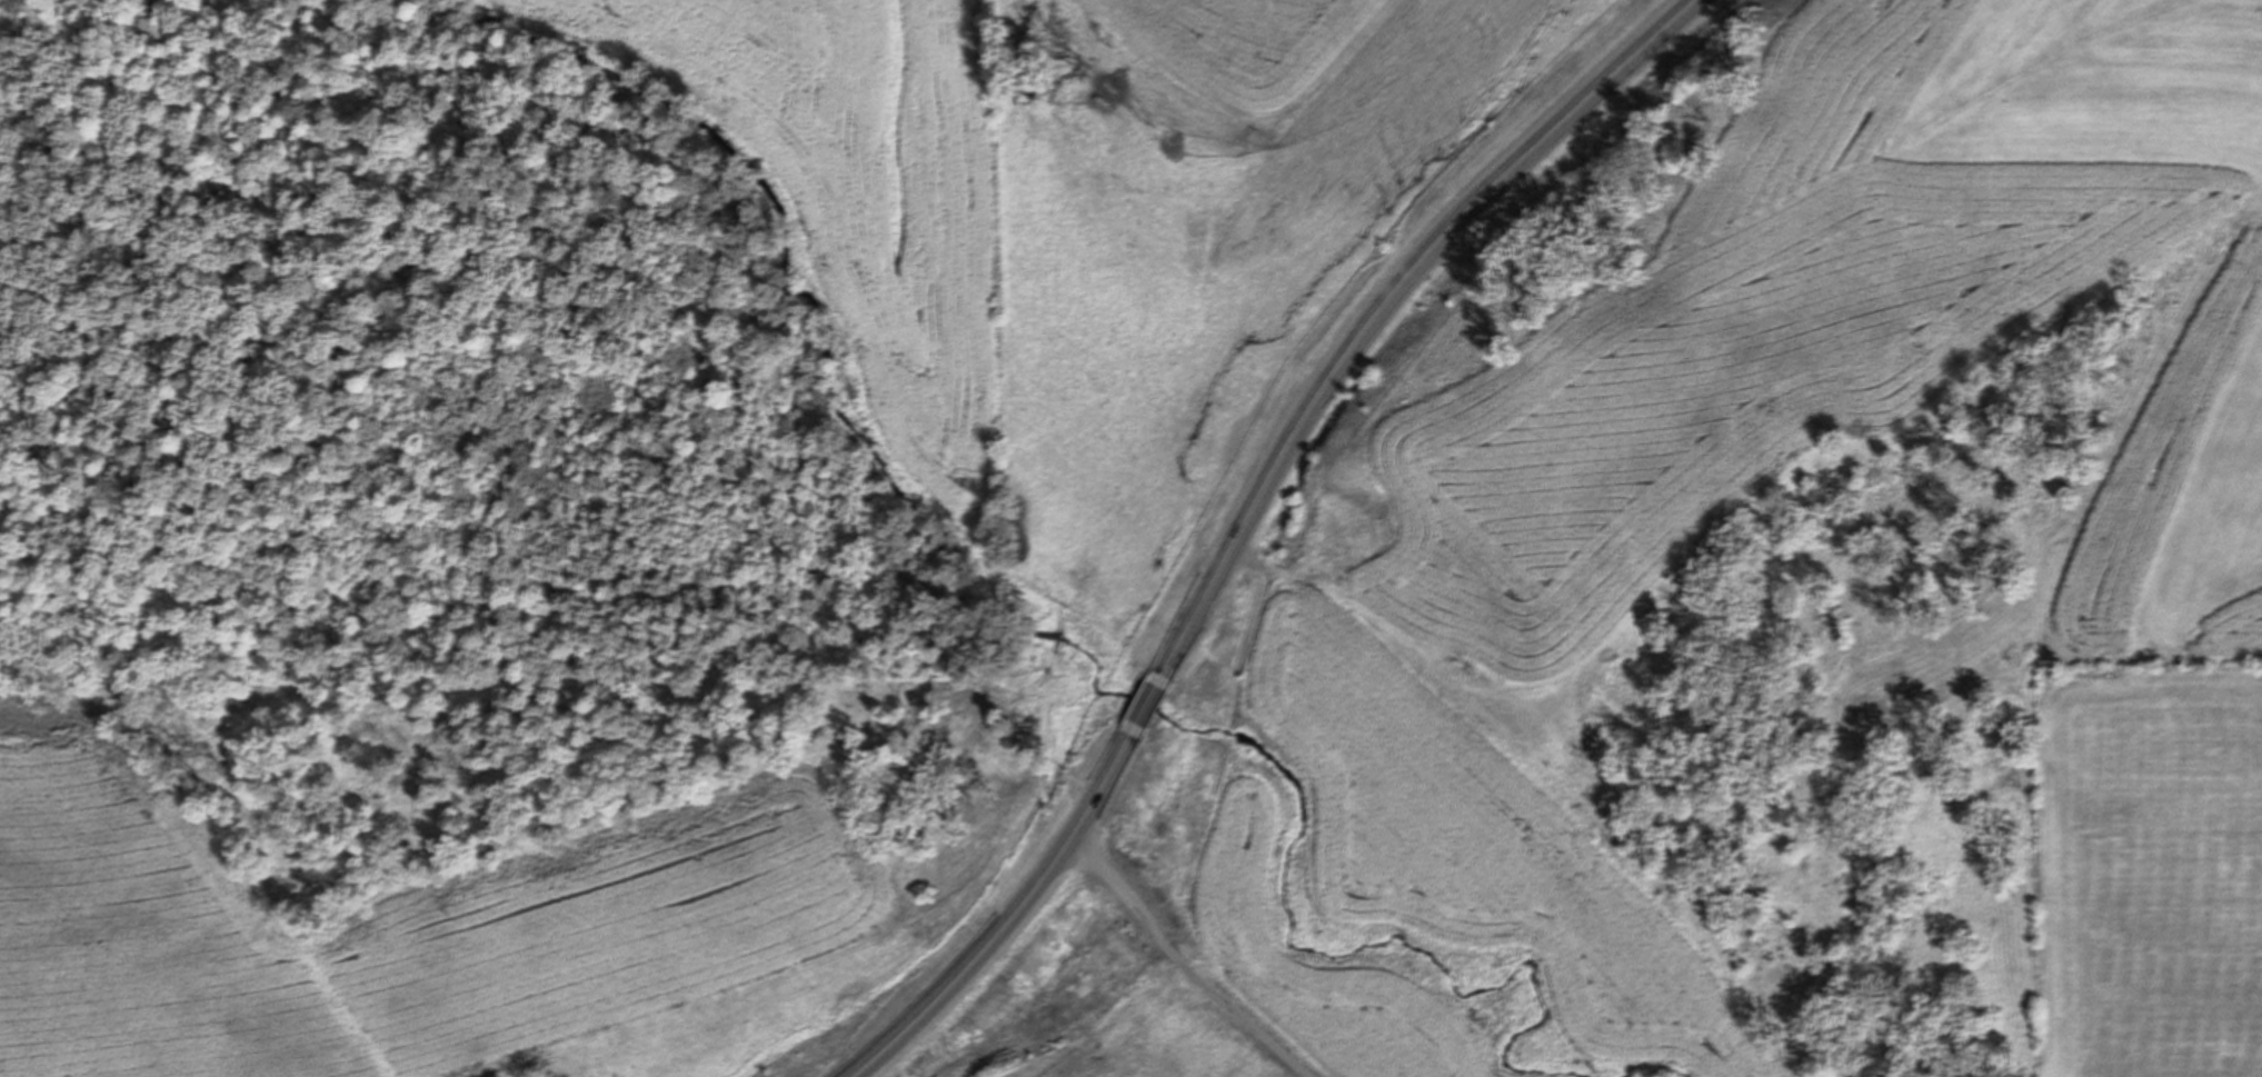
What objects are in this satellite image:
road: (1393, 306)
road: (1147, 702)
road: (1017, 920)
road: (1185, 964)
quarry: (1285, 1076)

